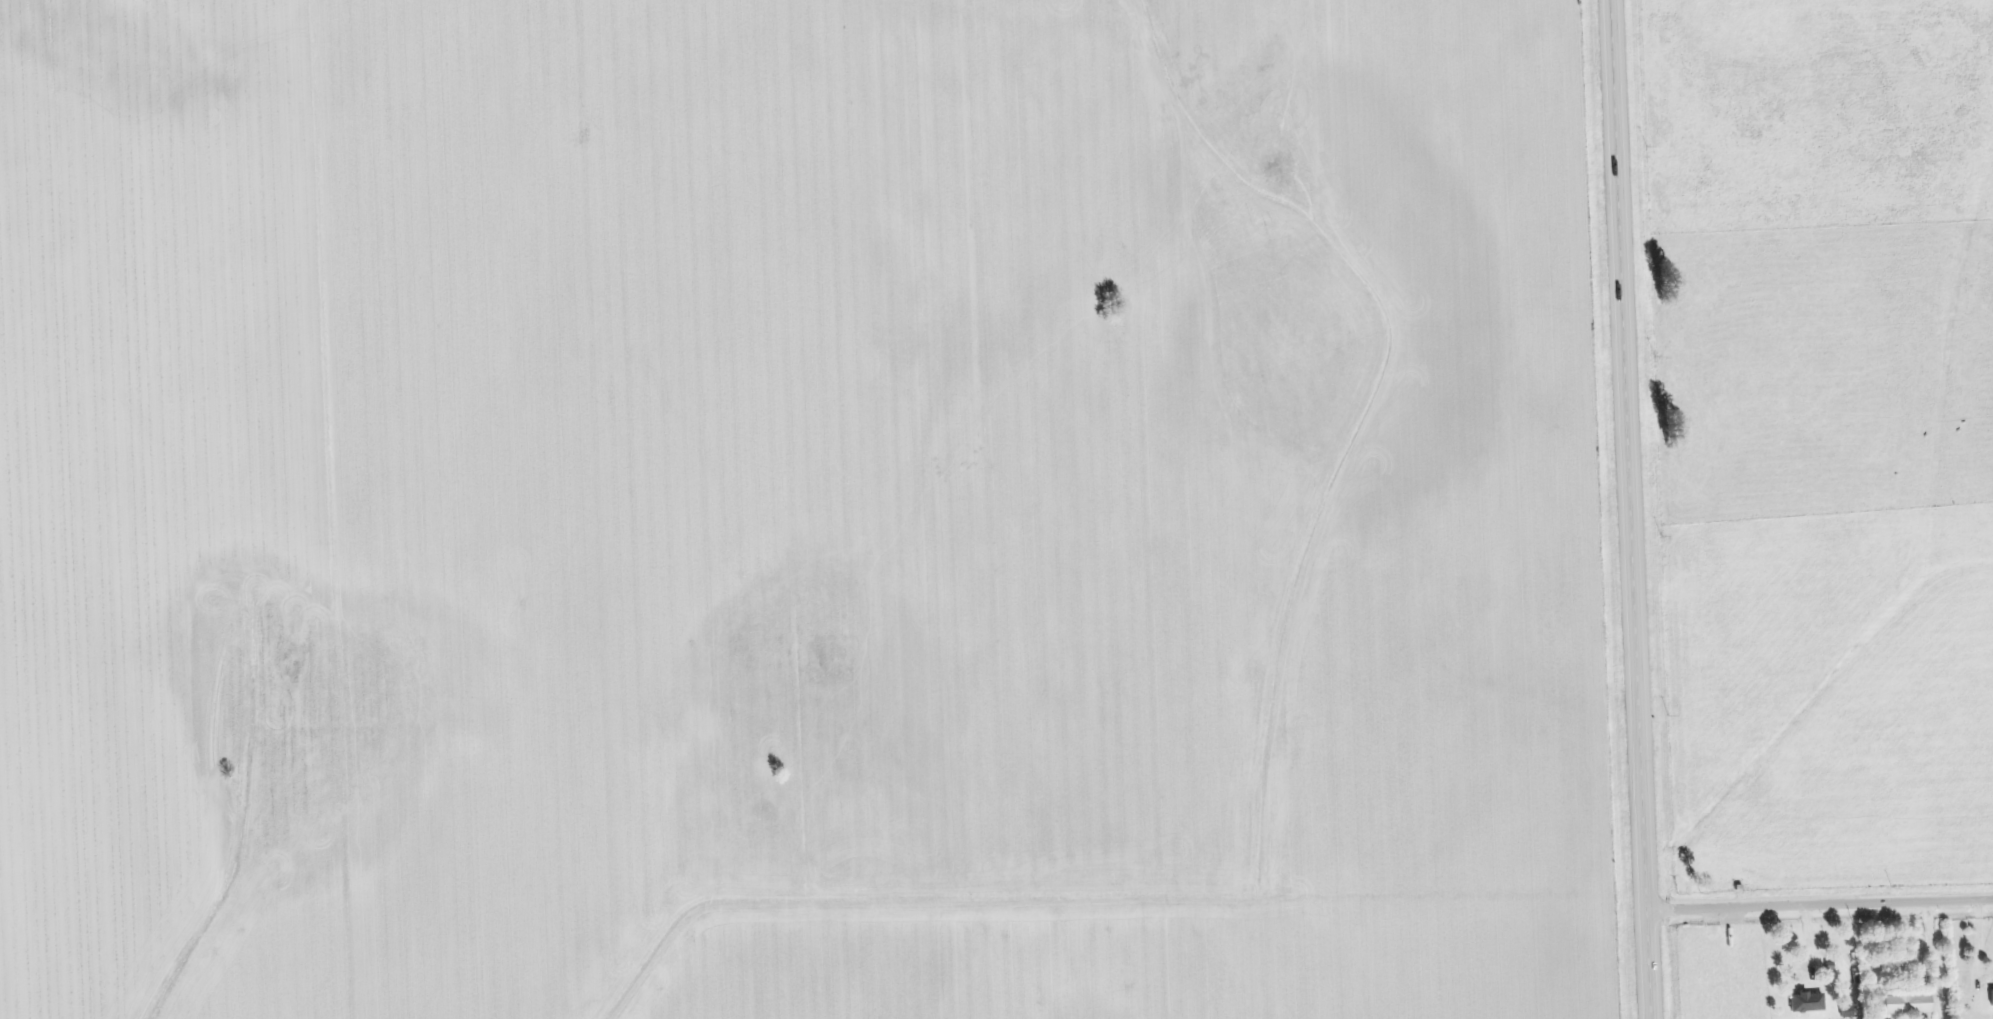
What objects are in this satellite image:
road: (1627, 509)
road: (1817, 905)
road: (1979, 954)
building: (1991, 996)
building: (1807, 1003)
building: (1908, 1004)

